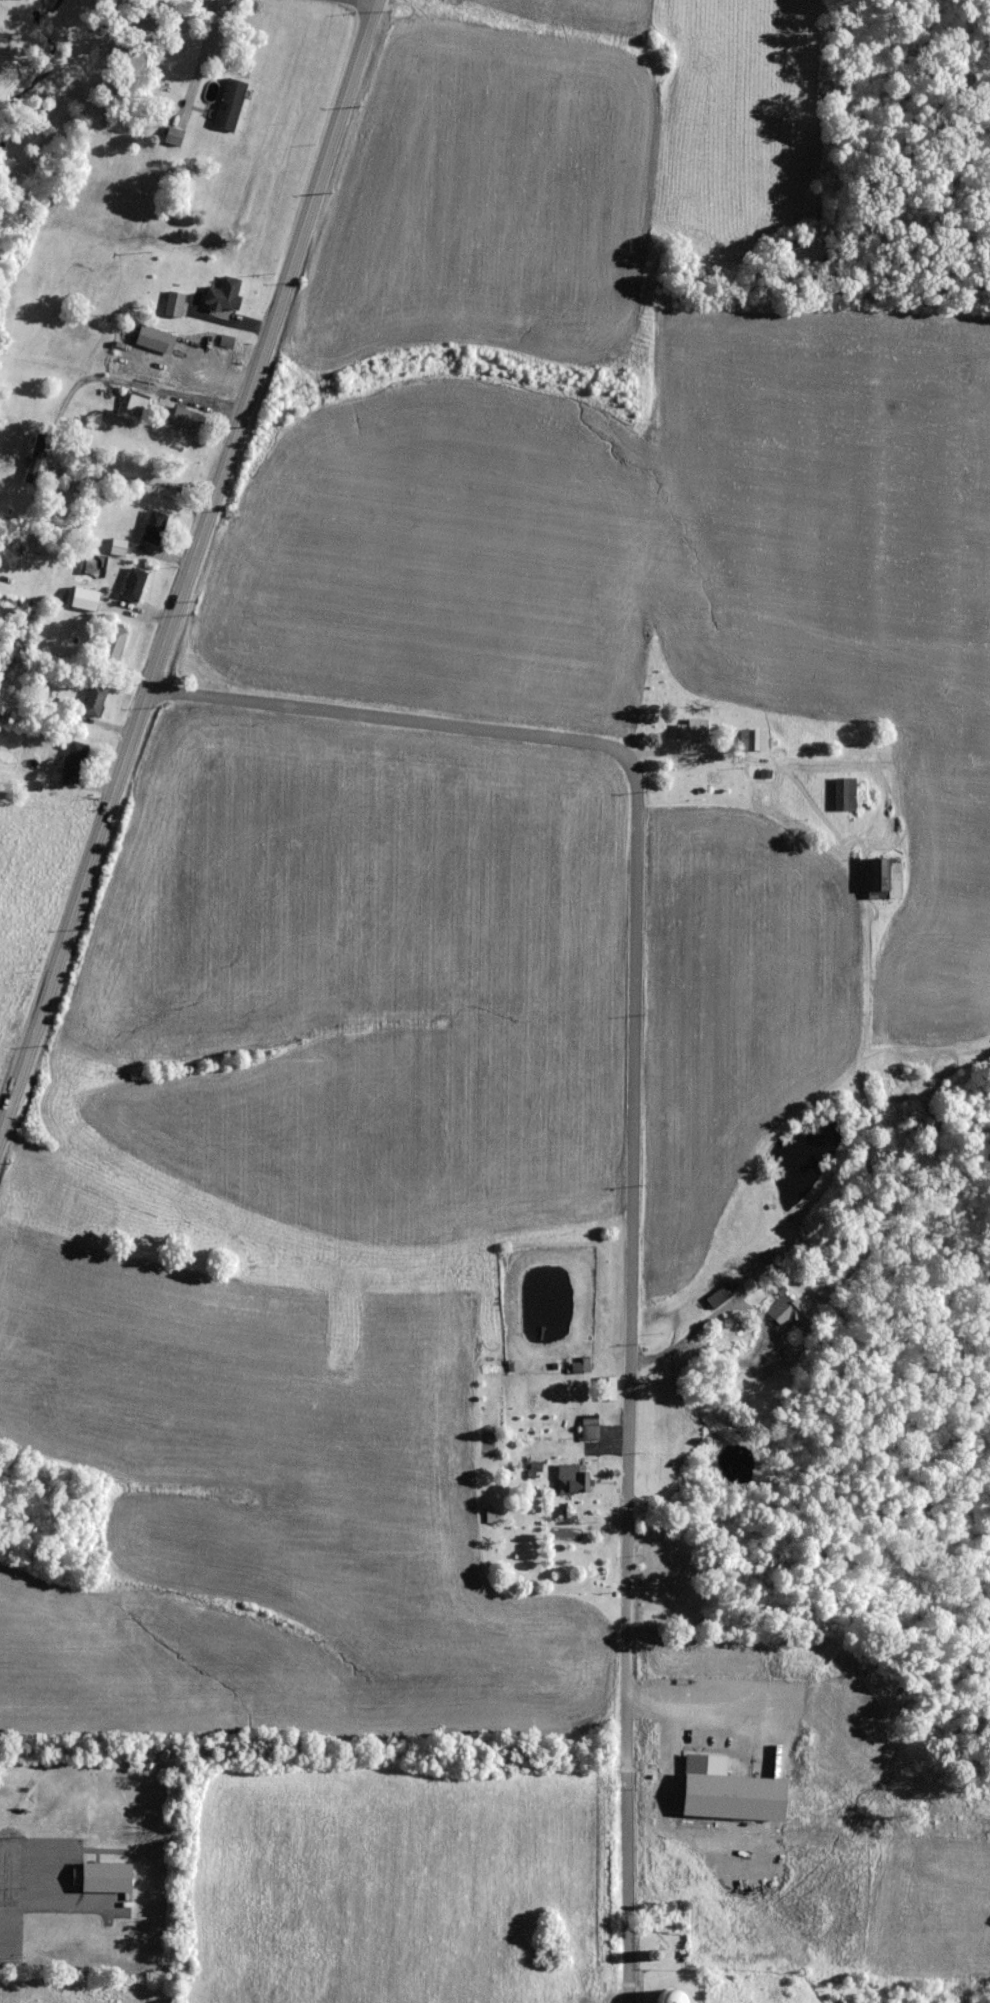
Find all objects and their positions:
road: (362, 2)
building: (228, 104)
building: (172, 137)
building: (222, 297)
building: (172, 306)
building: (154, 342)
building: (134, 408)
building: (184, 421)
building: (30, 471)
building: (153, 529)
road: (189, 565)
building: (132, 586)
building: (83, 601)
building: (110, 649)
building: (93, 702)
building: (691, 731)
building: (751, 741)
building: (73, 759)
building: (843, 795)
building: (882, 878)
road: (633, 1137)
building: (719, 1297)
building: (787, 1315)
building: (578, 1367)
building: (606, 1390)
building: (588, 1428)
building: (571, 1480)
building: (679, 1584)
building: (669, 1997)

